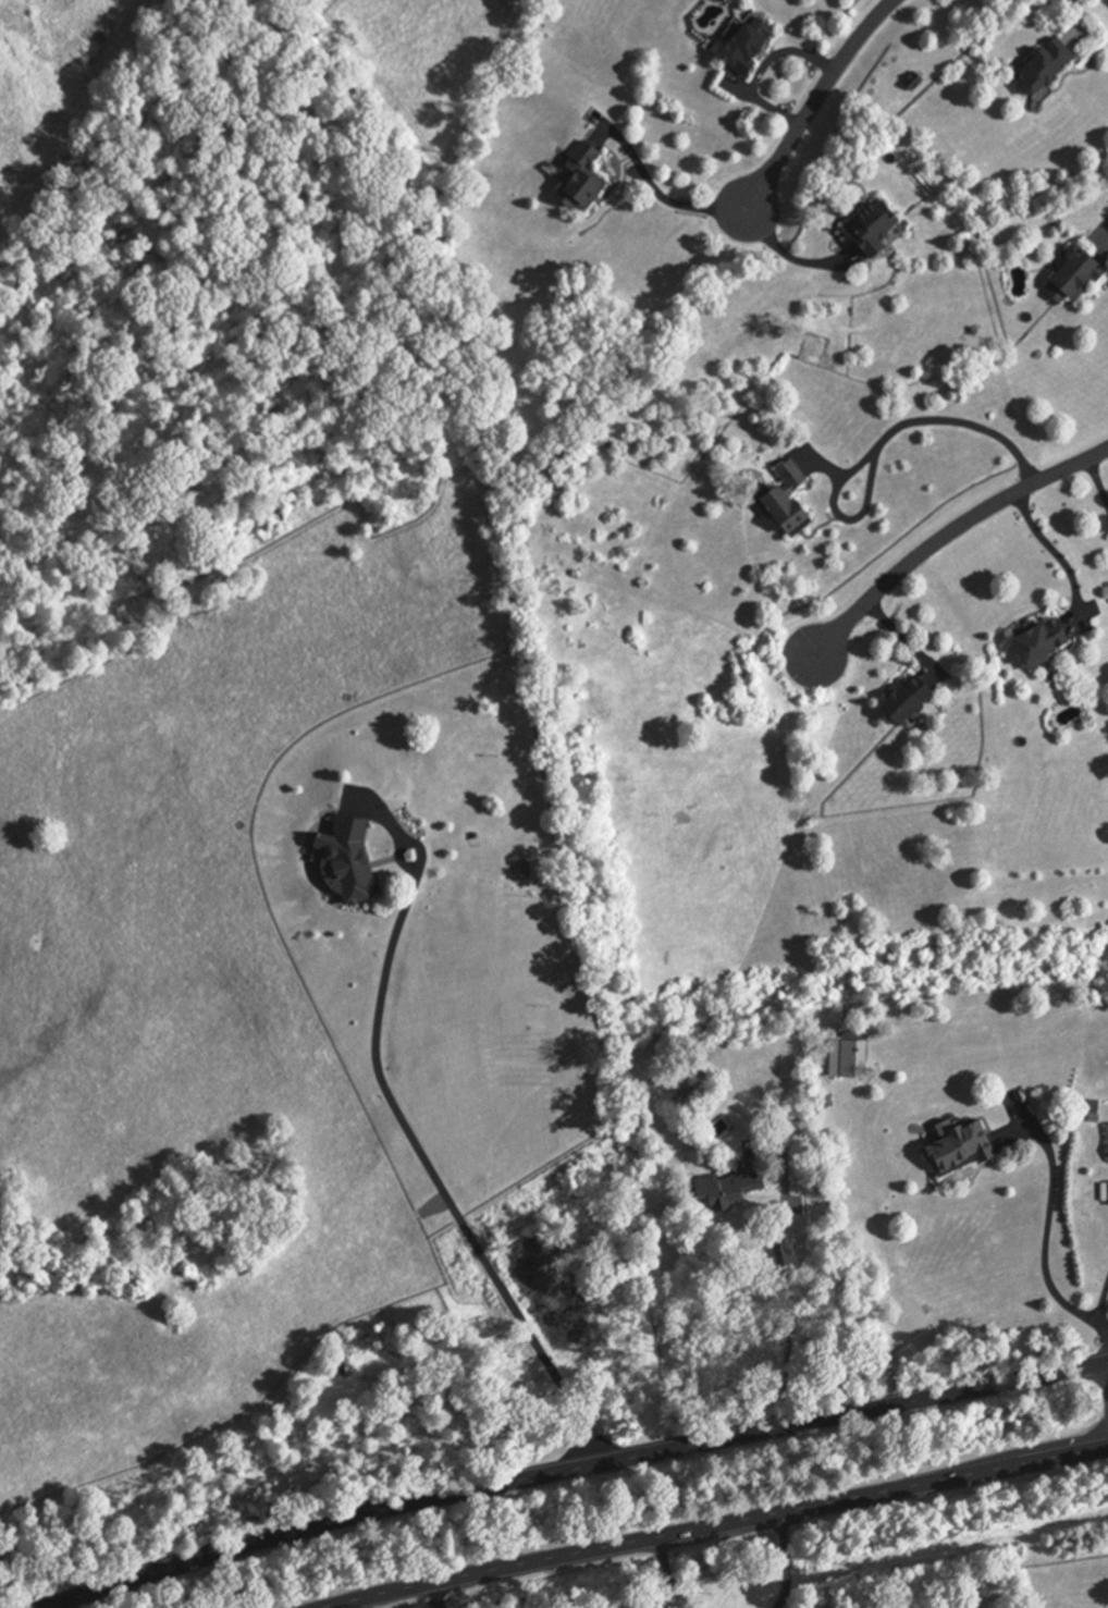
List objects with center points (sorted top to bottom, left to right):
road: (1076, 14)
building: (740, 44)
building: (1037, 66)
road: (813, 102)
building: (574, 182)
road: (656, 195)
road: (1103, 226)
building: (866, 229)
road: (786, 253)
building: (1067, 278)
road: (877, 443)
building: (786, 475)
road: (1099, 480)
building: (775, 512)
road: (948, 537)
road: (1050, 552)
building: (1034, 643)
building: (898, 700)
building: (341, 861)
building: (849, 1072)
building: (1105, 1143)
building: (952, 1151)
road: (438, 1179)
building: (724, 1186)
road: (1045, 1226)
road: (786, 1287)
road: (1095, 1318)
road: (576, 1472)
road: (718, 1526)
road: (783, 1562)
road: (666, 1573)
road: (439, 1595)

